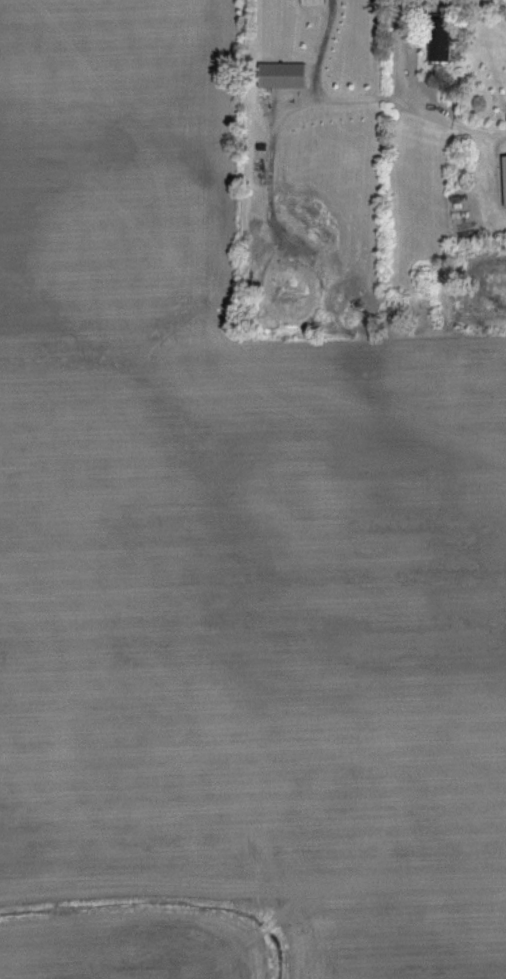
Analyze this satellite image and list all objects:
building: (317, 1)
building: (442, 32)
road: (70, 44)
building: (287, 73)
road: (406, 86)
road: (319, 89)
building: (505, 159)
building: (464, 195)
road: (138, 208)
road: (249, 443)
road: (284, 604)
crop: (264, 939)

